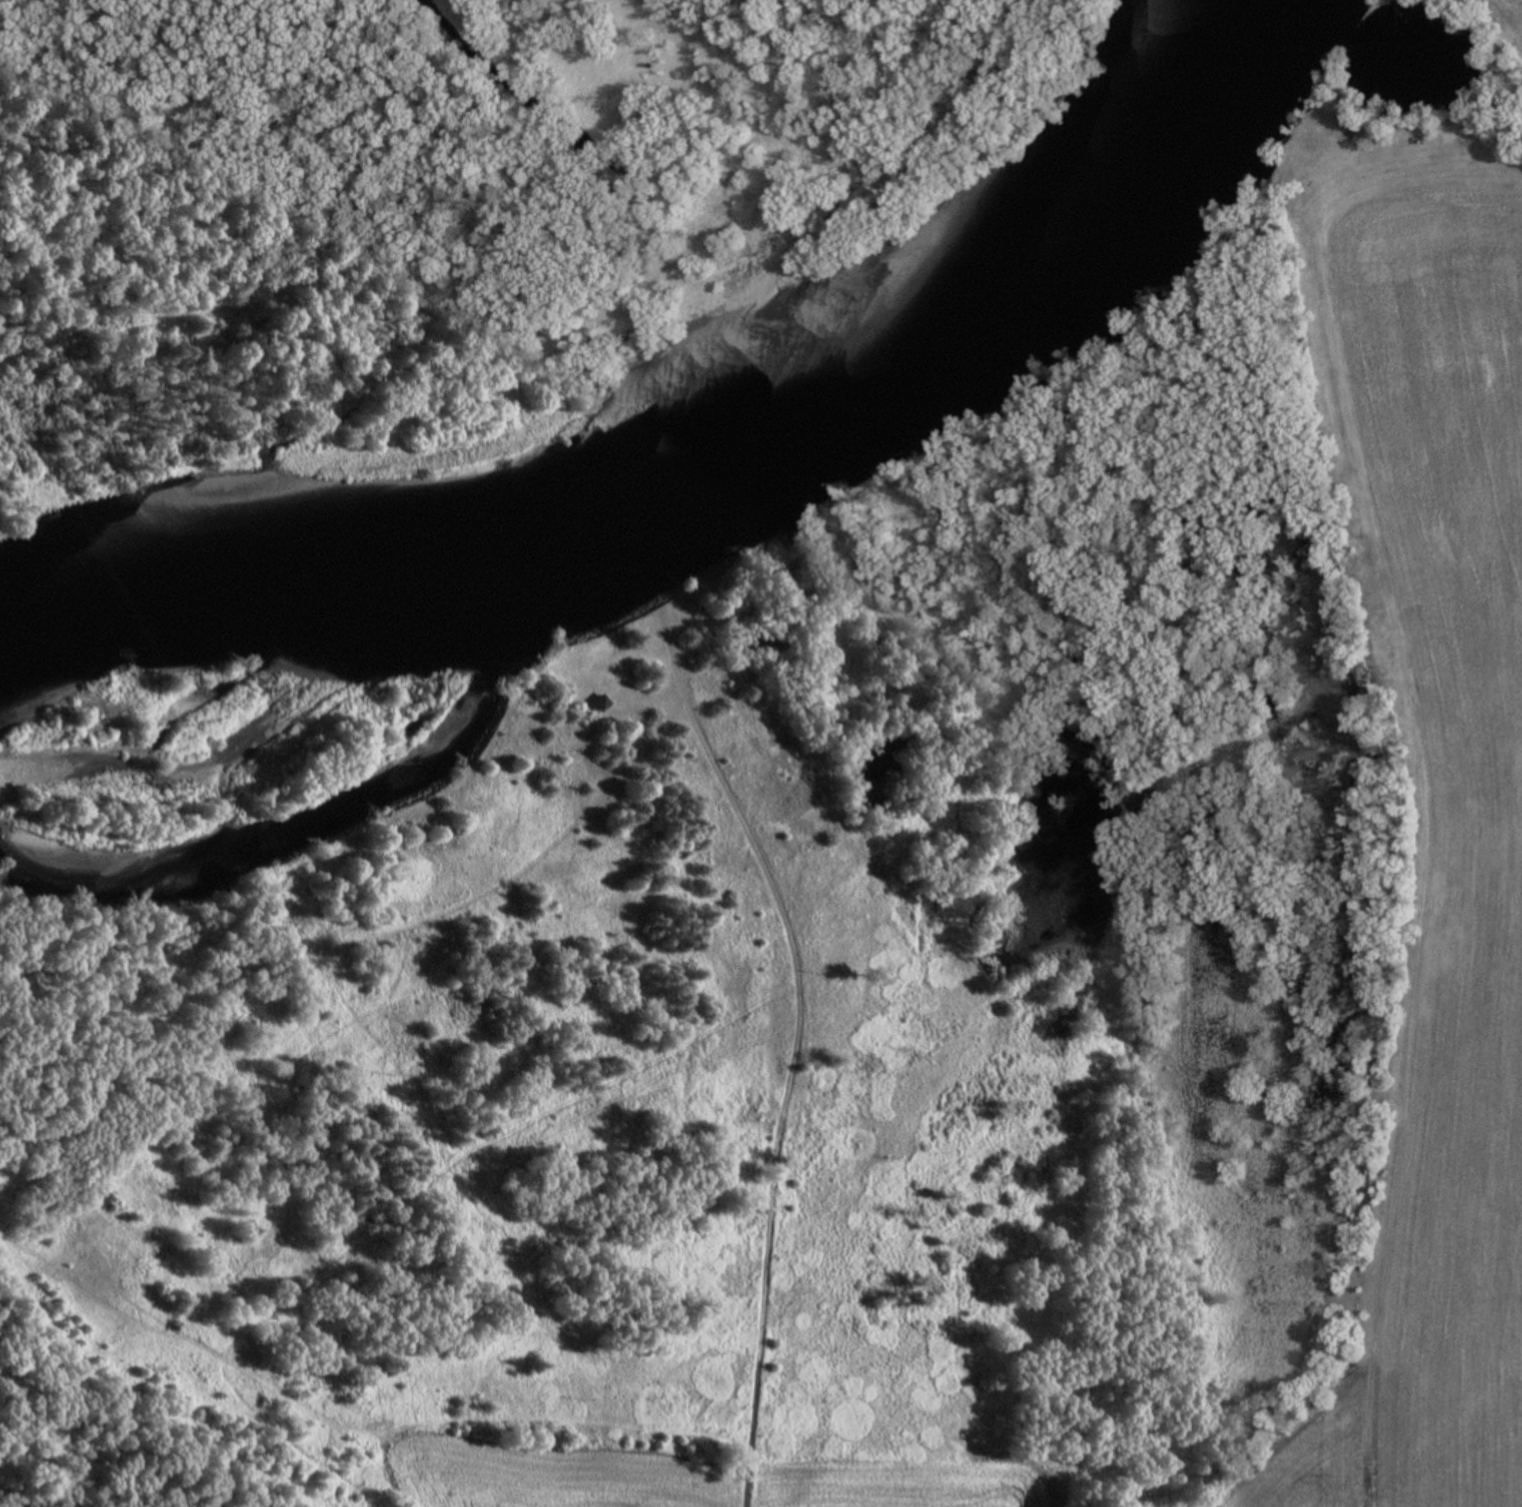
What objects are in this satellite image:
river: (710, 447)
building: (598, 701)

